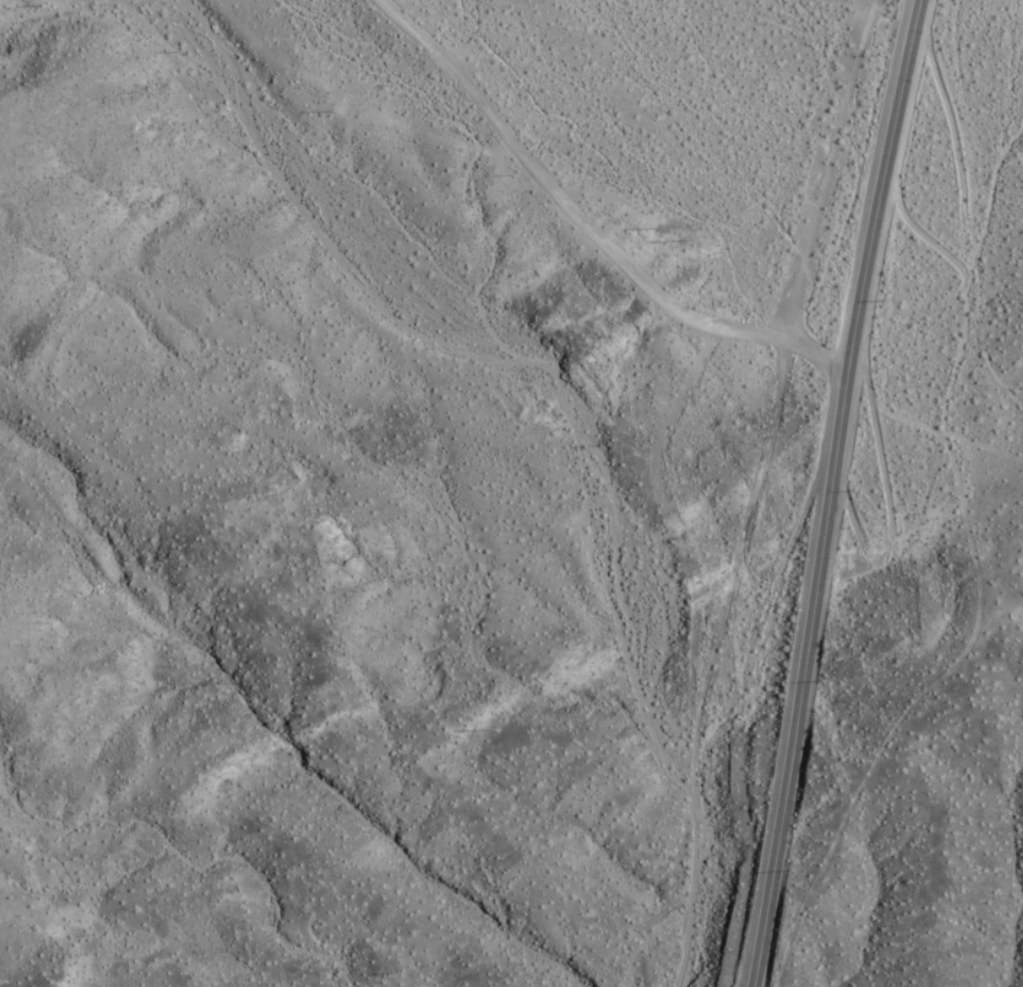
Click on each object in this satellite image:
road: (593, 228)
road: (831, 492)

